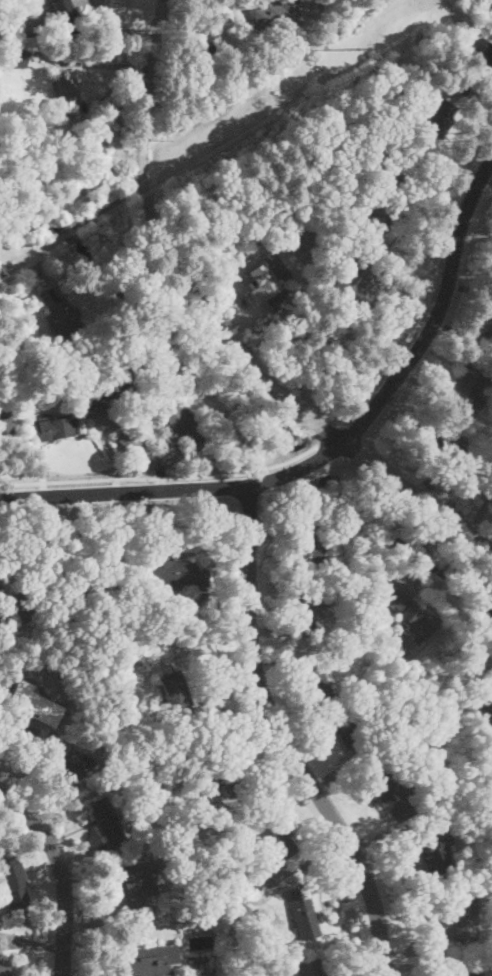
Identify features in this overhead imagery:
building: (490, 2)
building: (278, 15)
building: (66, 16)
building: (342, 20)
building: (477, 25)
power tower: (368, 45)
building: (15, 58)
building: (485, 58)
building: (203, 59)
road: (99, 63)
building: (65, 94)
building: (389, 102)
building: (372, 113)
building: (441, 119)
building: (392, 136)
building: (324, 160)
building: (406, 168)
building: (375, 216)
road: (80, 221)
building: (327, 228)
road: (398, 263)
building: (355, 279)
building: (262, 284)
road: (432, 288)
building: (23, 300)
building: (488, 311)
building: (60, 315)
building: (301, 325)
road: (218, 329)
building: (324, 339)
building: (486, 340)
building: (84, 352)
building: (473, 387)
building: (110, 390)
building: (428, 390)
building: (5, 422)
building: (81, 425)
building: (186, 427)
building: (51, 429)
building: (176, 435)
road: (328, 435)
building: (131, 439)
building: (178, 440)
building: (443, 447)
road: (332, 451)
road: (160, 479)
road: (479, 513)
building: (306, 543)
building: (175, 573)
building: (81, 592)
building: (16, 609)
building: (305, 610)
building: (409, 614)
building: (128, 663)
building: (316, 685)
building: (354, 688)
building: (176, 696)
building: (33, 704)
building: (482, 713)
road: (283, 739)
building: (353, 740)
building: (408, 752)
building: (70, 765)
building: (149, 770)
building: (231, 776)
building: (152, 788)
building: (389, 796)
building: (107, 822)
building: (272, 846)
building: (239, 848)
building: (434, 852)
road: (59, 875)
building: (14, 883)
building: (136, 887)
building: (304, 914)
building: (465, 915)
road: (118, 938)
building: (233, 942)
building: (151, 961)
building: (4, 967)
building: (310, 968)
building: (473, 971)

